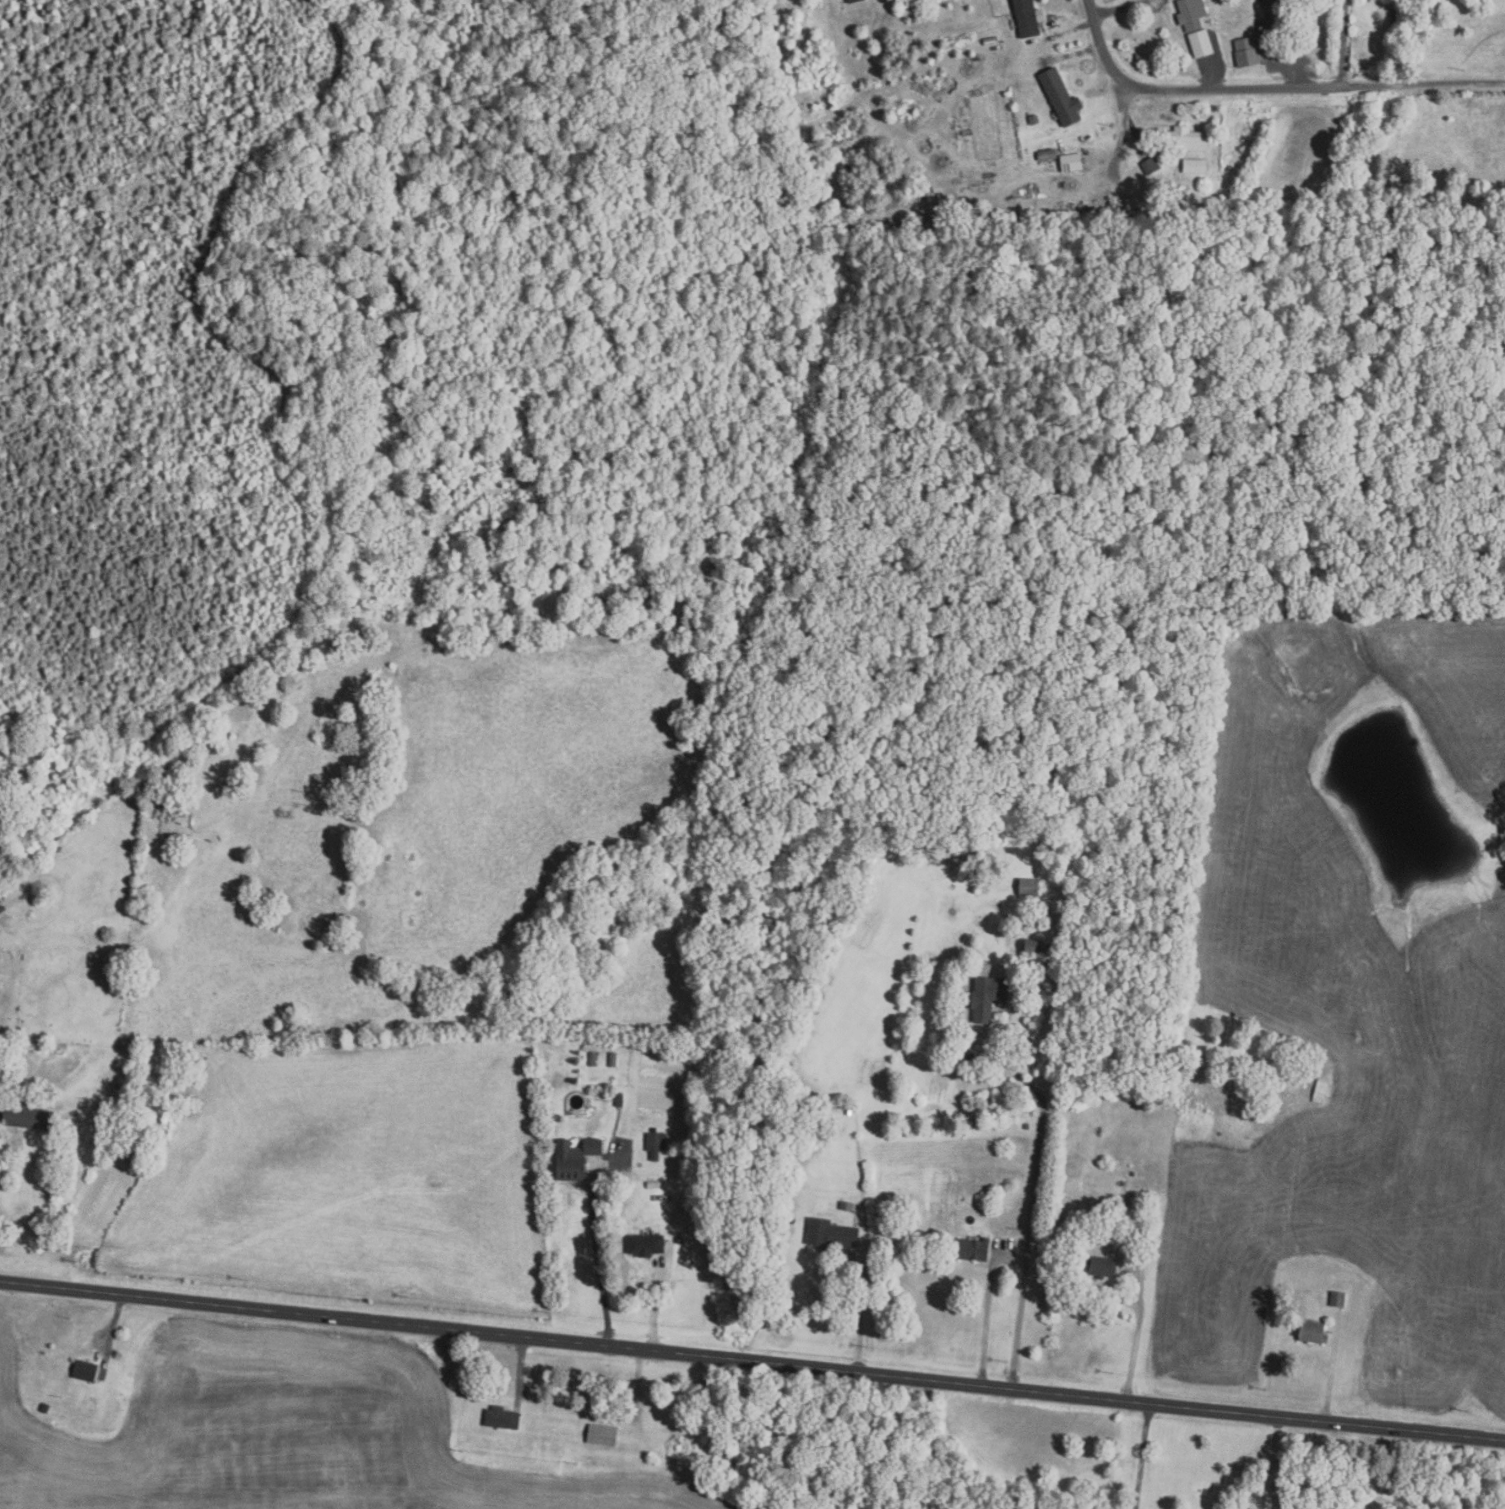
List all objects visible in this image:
building: (852, 1)
building: (1271, 6)
building: (1190, 13)
building: (1026, 18)
road: (1074, 26)
building: (989, 41)
road: (1342, 42)
building: (1200, 44)
building: (1246, 51)
building: (1139, 57)
road: (1269, 89)
building: (1060, 97)
building: (1033, 120)
road: (1123, 126)
building: (1187, 139)
building: (1046, 155)
building: (1069, 165)
building: (1150, 165)
building: (1195, 166)
building: (1103, 211)
building: (1132, 213)
building: (1195, 215)
building: (1163, 218)
building: (1012, 225)
building: (1026, 225)
building: (935, 226)
building: (890, 238)
building: (990, 878)
building: (1029, 887)
building: (1062, 906)
building: (7, 935)
building: (1035, 947)
building: (988, 997)
building: (593, 1058)
building: (612, 1059)
building: (1321, 1089)
building: (619, 1100)
building: (29, 1116)
building: (654, 1143)
building: (574, 1158)
building: (653, 1184)
building: (846, 1206)
road: (1032, 1210)
building: (831, 1235)
building: (679, 1240)
building: (644, 1245)
building: (974, 1249)
building: (1134, 1259)
road: (597, 1261)
building: (1100, 1267)
road: (654, 1297)
building: (1338, 1299)
road: (862, 1312)
road: (113, 1325)
road: (986, 1325)
building: (1313, 1333)
road: (1135, 1347)
road: (752, 1360)
road: (520, 1370)
building: (90, 1371)
building: (46, 1407)
building: (500, 1418)
building: (600, 1435)
road: (1143, 1456)
road: (1276, 1462)

